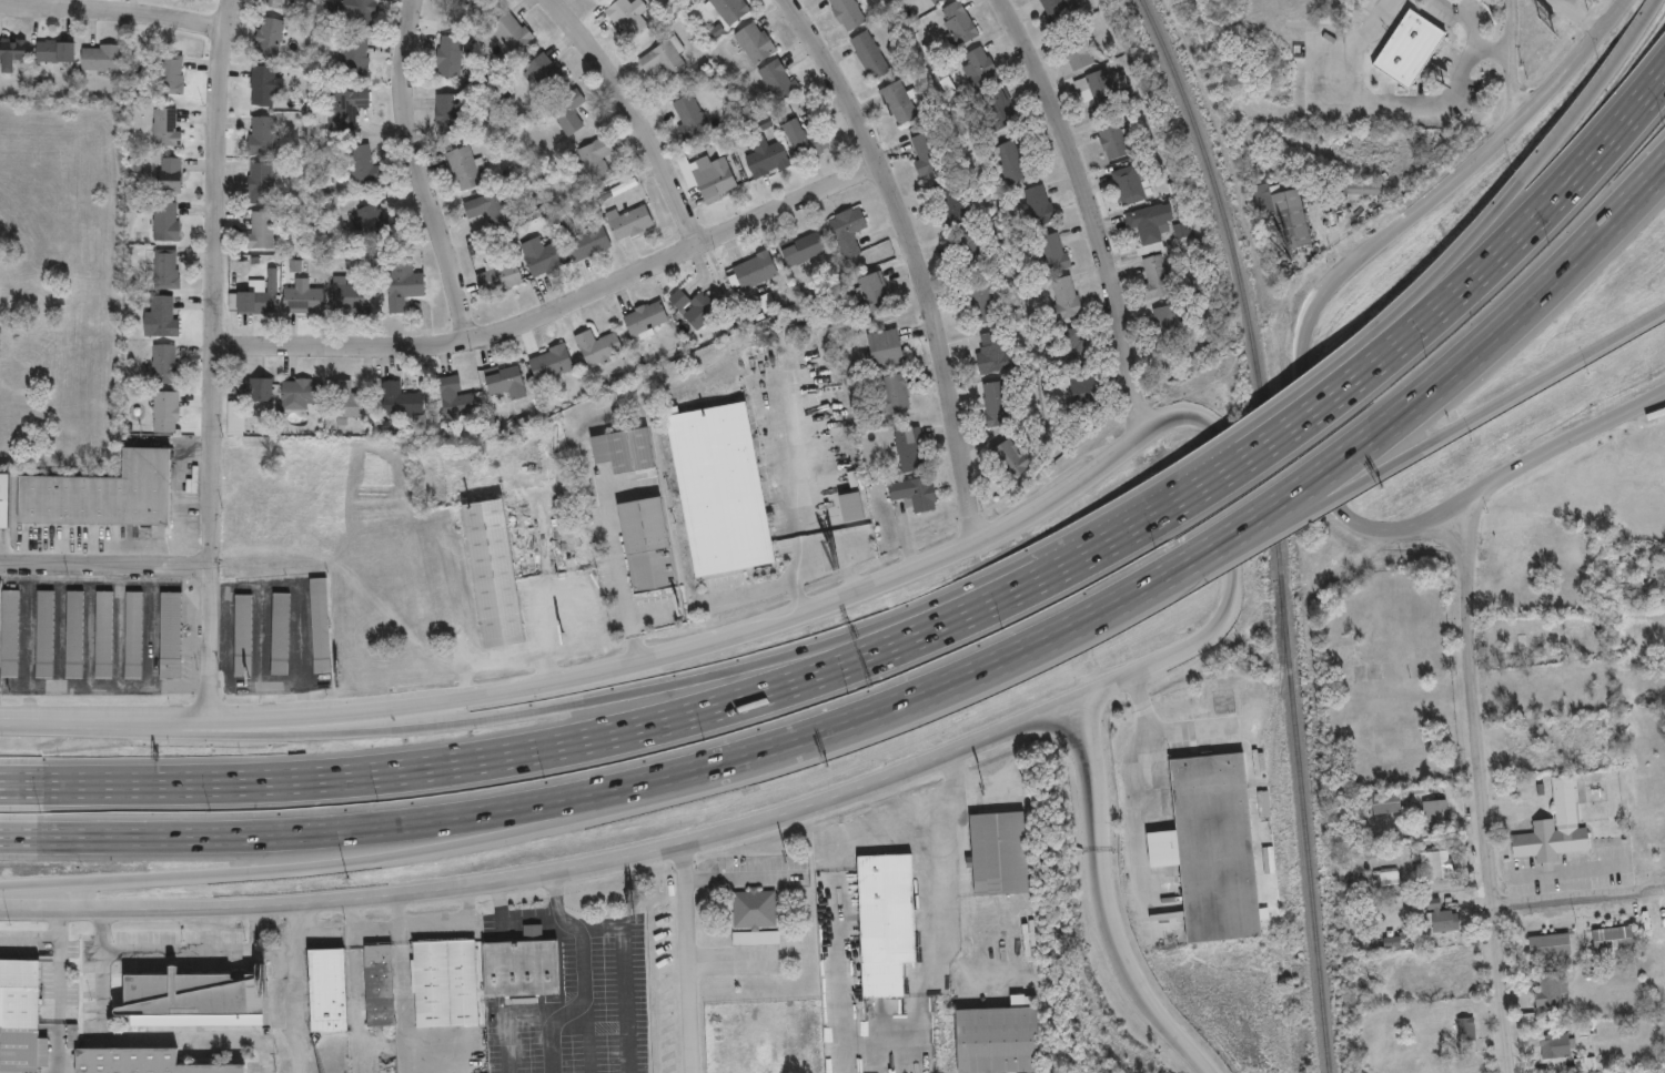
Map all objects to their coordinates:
building: (935, 1)
road: (1560, 2)
building: (275, 3)
road: (54, 6)
building: (1059, 8)
building: (730, 9)
building: (359, 10)
building: (848, 13)
road: (112, 14)
road: (1574, 14)
building: (627, 17)
building: (959, 24)
building: (512, 31)
road: (1473, 36)
building: (270, 38)
building: (756, 42)
building: (1409, 48)
building: (57, 50)
building: (11, 53)
building: (870, 54)
building: (354, 55)
building: (450, 55)
building: (101, 57)
building: (1080, 57)
building: (665, 59)
road: (1514, 61)
building: (980, 67)
building: (546, 71)
building: (173, 73)
building: (779, 79)
building: (264, 84)
building: (1097, 88)
road: (1375, 95)
building: (898, 102)
building: (346, 108)
building: (1000, 110)
building: (569, 112)
building: (448, 113)
road: (639, 113)
building: (689, 115)
building: (167, 126)
building: (262, 134)
building: (805, 139)
building: (1113, 140)
building: (922, 153)
building: (767, 158)
building: (595, 160)
building: (1011, 161)
road: (1473, 161)
building: (364, 164)
building: (465, 166)
building: (170, 173)
road: (417, 174)
building: (714, 176)
road: (1570, 181)
building: (260, 182)
road: (1517, 183)
building: (1130, 184)
building: (1361, 190)
building: (1040, 204)
building: (953, 205)
building: (490, 207)
road: (1090, 211)
building: (1282, 214)
building: (168, 221)
building: (372, 222)
building: (630, 222)
building: (1150, 225)
building: (261, 229)
building: (849, 231)
road: (1331, 239)
building: (585, 240)
building: (971, 246)
building: (804, 247)
building: (1053, 252)
road: (917, 257)
building: (545, 260)
building: (168, 269)
building: (756, 271)
building: (502, 276)
building: (1157, 277)
building: (404, 284)
building: (874, 289)
building: (261, 294)
building: (349, 295)
building: (303, 298)
building: (981, 302)
building: (694, 306)
road: (1524, 306)
road: (558, 311)
building: (162, 315)
building: (646, 318)
building: (1170, 322)
road: (1413, 330)
building: (598, 346)
building: (1071, 346)
building: (887, 348)
building: (993, 352)
road: (216, 358)
building: (165, 363)
building: (552, 363)
building: (506, 379)
building: (260, 388)
building: (1086, 389)
road: (1521, 391)
building: (896, 392)
building: (302, 393)
building: (457, 397)
building: (401, 401)
building: (350, 402)
building: (996, 404)
building: (167, 411)
road: (1262, 416)
road: (1269, 441)
road: (1554, 444)
building: (624, 449)
building: (910, 449)
building: (1015, 455)
road: (1315, 469)
building: (720, 488)
building: (103, 493)
building: (915, 493)
road: (1227, 496)
building: (4, 499)
road: (1276, 503)
road: (1165, 505)
road: (1165, 508)
road: (1148, 518)
road: (1278, 526)
railway: (1276, 527)
building: (647, 544)
road: (105, 564)
road: (817, 565)
building: (1653, 569)
building: (494, 573)
road: (622, 573)
road: (1167, 574)
building: (320, 624)
building: (10, 632)
building: (281, 632)
building: (46, 634)
building: (74, 634)
building: (104, 634)
building: (133, 634)
building: (243, 634)
building: (171, 635)
building: (1517, 635)
road: (1076, 636)
road: (596, 672)
road: (927, 692)
road: (584, 701)
road: (591, 738)
road: (1263, 753)
road: (1479, 787)
road: (1148, 793)
road: (924, 801)
building: (1386, 802)
building: (1435, 810)
building: (1554, 828)
road: (346, 829)
building: (1212, 846)
building: (1000, 852)
road: (619, 857)
road: (350, 861)
building: (1436, 861)
road: (740, 877)
building: (1388, 880)
road: (1578, 898)
road: (1104, 900)
building: (754, 908)
building: (1441, 917)
road: (508, 921)
building: (886, 921)
road: (60, 922)
building: (756, 937)
road: (30, 938)
building: (1614, 938)
road: (579, 941)
building: (1550, 944)
road: (199, 949)
road: (686, 956)
building: (522, 964)
road: (401, 982)
building: (445, 982)
building: (380, 984)
road: (294, 986)
building: (329, 989)
building: (1548, 992)
building: (195, 999)
road: (60, 1005)
building: (20, 1016)
road: (506, 1016)
building: (1466, 1028)
road: (134, 1037)
building: (999, 1037)
road: (549, 1041)
road: (887, 1045)
building: (1555, 1045)
building: (142, 1061)

